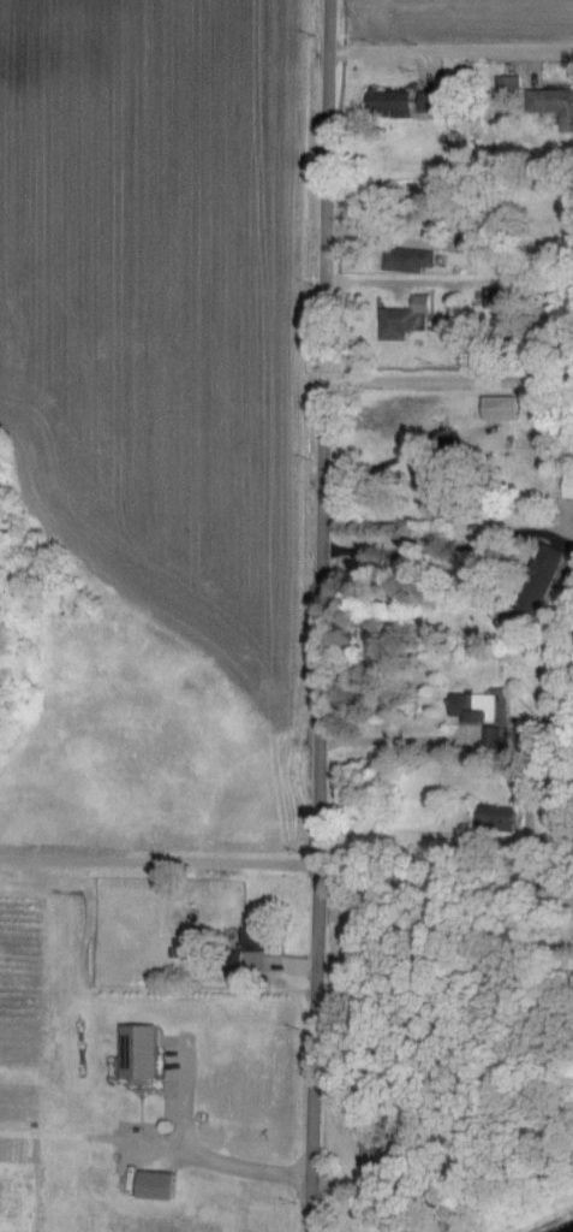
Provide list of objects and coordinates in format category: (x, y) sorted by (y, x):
road: (450, 53)
building: (441, 101)
building: (396, 102)
building: (555, 102)
building: (414, 259)
building: (417, 312)
building: (507, 408)
road: (398, 460)
road: (434, 538)
building: (559, 556)
road: (321, 616)
building: (484, 713)
road: (386, 739)
road: (406, 831)
road: (159, 861)
road: (442, 879)
building: (267, 938)
building: (149, 1053)
road: (243, 1165)
building: (166, 1186)

